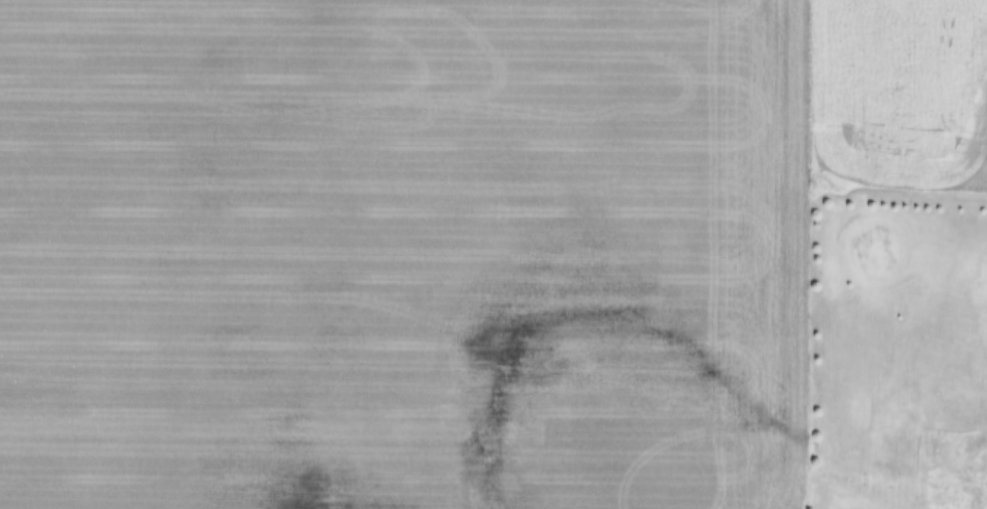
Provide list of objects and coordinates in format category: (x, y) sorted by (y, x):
park: (897, 351)

